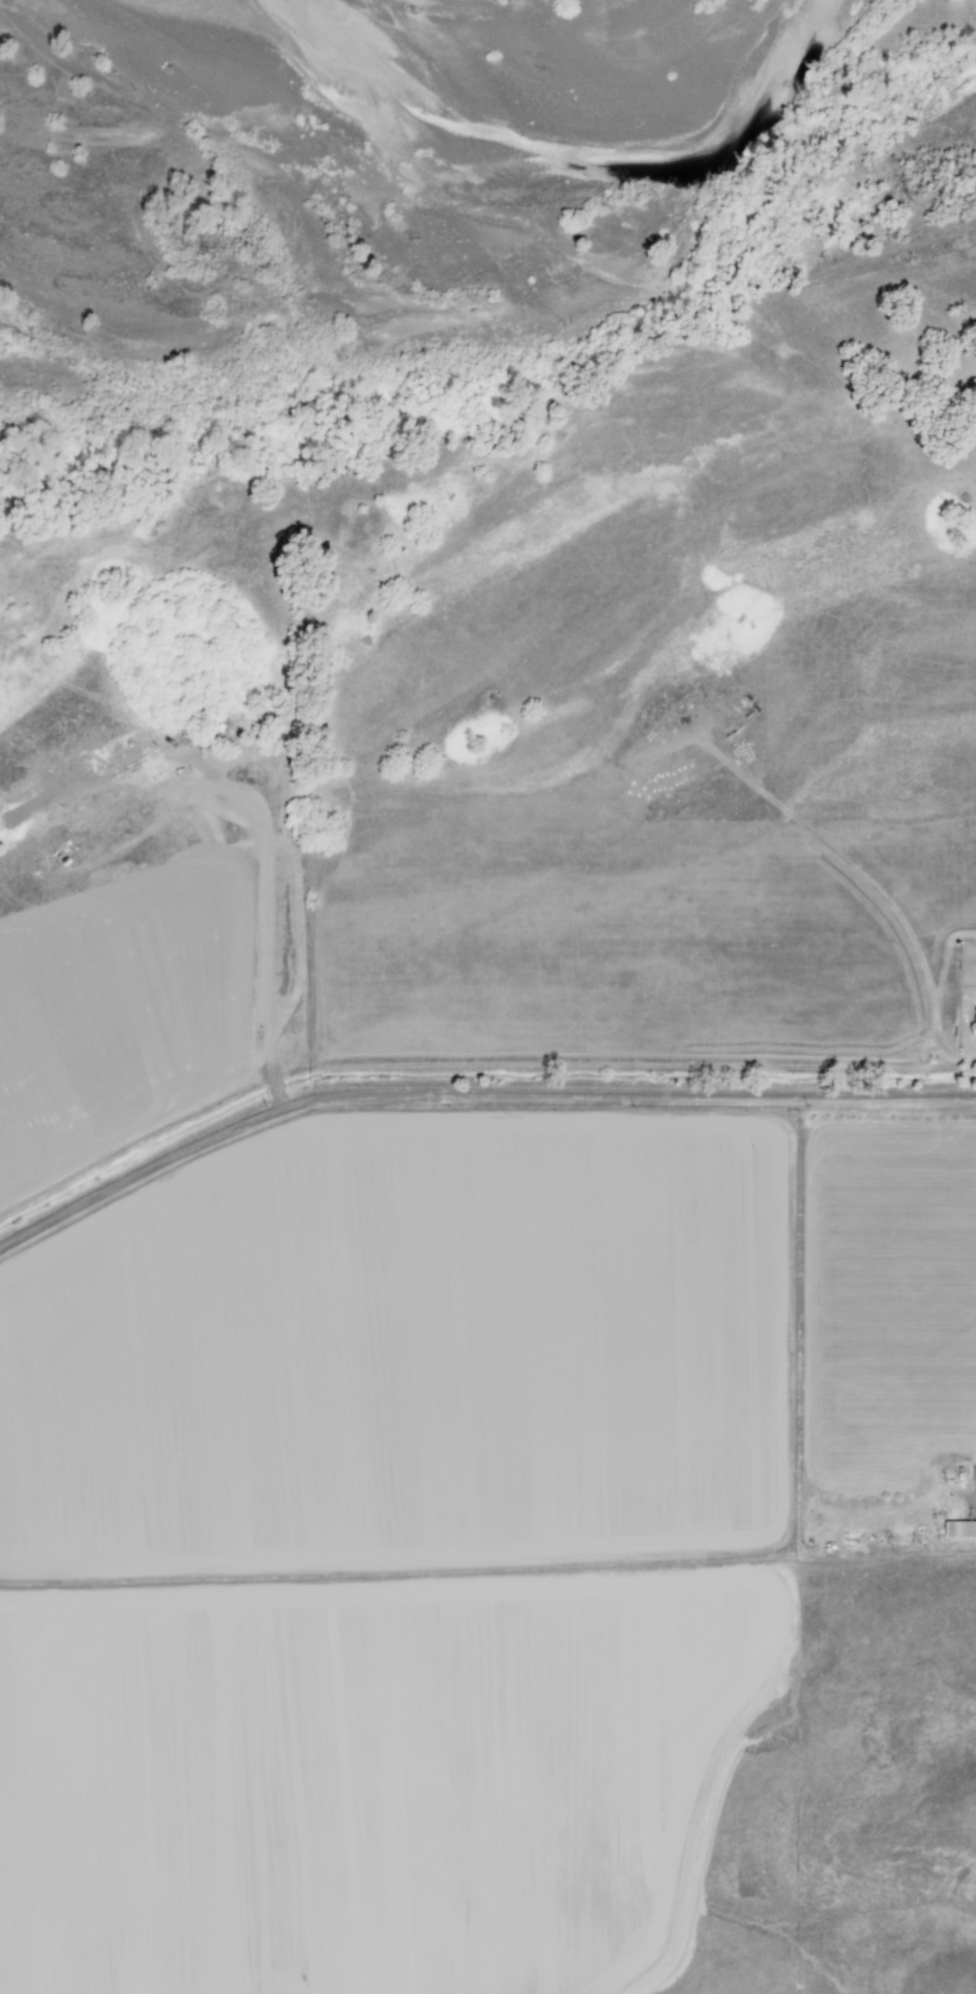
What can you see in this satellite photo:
river: (349, 16)
road: (650, 1092)
road: (158, 1162)
building: (957, 1528)

